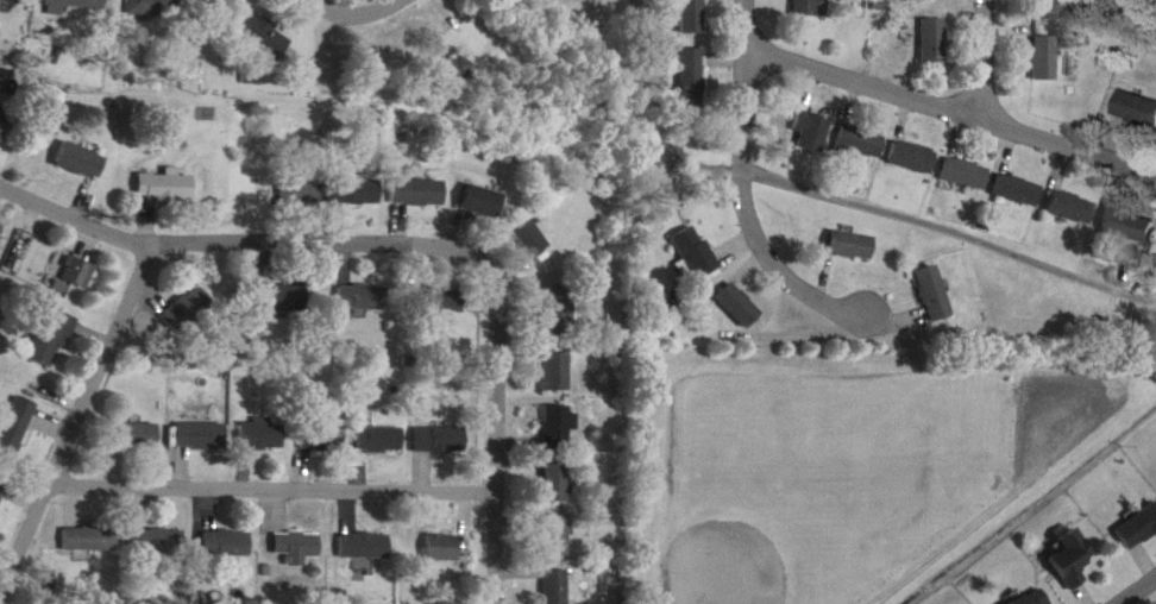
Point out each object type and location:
building: (18, 0)
building: (161, 0)
road: (352, 0)
building: (554, 0)
building: (1041, 1)
building: (77, 4)
building: (689, 7)
building: (812, 7)
road: (461, 15)
building: (251, 18)
building: (928, 21)
building: (1037, 39)
building: (936, 40)
road: (986, 52)
building: (689, 56)
building: (446, 57)
building: (1047, 57)
road: (326, 61)
road: (935, 89)
building: (1132, 90)
building: (1136, 108)
building: (806, 112)
building: (852, 124)
building: (2, 125)
building: (813, 130)
building: (907, 138)
building: (861, 143)
building: (960, 155)
building: (916, 157)
building: (80, 161)
building: (1013, 170)
building: (967, 174)
building: (165, 187)
building: (1066, 188)
building: (1019, 190)
building: (301, 191)
building: (354, 191)
building: (417, 193)
road: (749, 197)
building: (483, 201)
building: (1118, 202)
building: (1072, 207)
building: (846, 226)
building: (1136, 226)
building: (1, 228)
road: (219, 231)
building: (693, 235)
building: (532, 241)
building: (853, 246)
building: (77, 272)
building: (923, 276)
building: (736, 285)
building: (935, 294)
building: (284, 297)
building: (363, 298)
building: (447, 301)
building: (742, 306)
building: (558, 307)
building: (187, 310)
building: (55, 340)
building: (557, 372)
road: (73, 405)
road: (497, 405)
building: (17, 426)
building: (558, 427)
building: (201, 435)
building: (263, 435)
building: (140, 436)
building: (325, 438)
building: (442, 438)
building: (383, 439)
park: (848, 454)
road: (272, 471)
building: (555, 482)
building: (2, 492)
building: (1137, 527)
road: (956, 529)
building: (555, 535)
park: (755, 535)
building: (89, 539)
building: (158, 541)
building: (228, 543)
building: (367, 546)
building: (301, 548)
building: (445, 548)
building: (1072, 560)
road: (1130, 585)
building: (557, 586)
building: (1032, 597)

